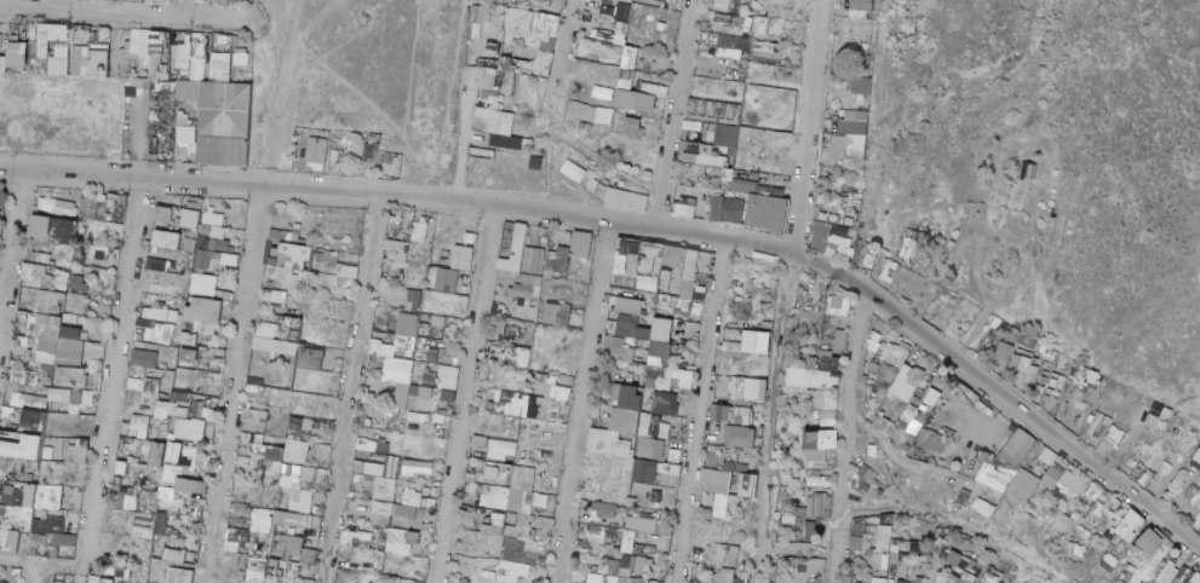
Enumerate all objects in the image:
building: (538, 0)
building: (625, 0)
building: (214, 1)
building: (541, 1)
building: (628, 1)
building: (550, 2)
building: (665, 2)
building: (588, 4)
road: (63, 5)
building: (727, 6)
road: (185, 7)
building: (859, 8)
road: (92, 11)
building: (607, 11)
building: (625, 12)
building: (676, 13)
building: (593, 15)
road: (216, 17)
building: (585, 19)
building: (837, 21)
building: (542, 23)
building: (733, 23)
building: (619, 28)
building: (544, 30)
building: (762, 30)
building: (768, 30)
building: (61, 31)
building: (774, 31)
building: (581, 33)
building: (855, 33)
building: (42, 34)
building: (188, 35)
building: (539, 35)
building: (604, 35)
building: (619, 35)
building: (0, 36)
building: (228, 39)
building: (160, 40)
building: (246, 40)
building: (472, 42)
building: (545, 42)
building: (533, 45)
building: (139, 46)
building: (731, 47)
building: (580, 48)
building: (756, 48)
building: (860, 48)
building: (638, 50)
building: (766, 50)
building: (40, 51)
building: (182, 51)
building: (240, 51)
building: (863, 51)
building: (15, 53)
building: (56, 56)
building: (631, 56)
building: (638, 57)
building: (649, 57)
building: (206, 59)
building: (239, 59)
building: (763, 59)
building: (99, 60)
building: (219, 60)
building: (861, 60)
building: (35, 62)
building: (664, 62)
building: (196, 63)
building: (2, 64)
building: (77, 64)
road: (563, 64)
building: (625, 64)
building: (184, 65)
building: (837, 68)
building: (117, 69)
building: (12, 71)
building: (157, 71)
building: (54, 73)
building: (59, 74)
building: (214, 74)
building: (532, 74)
building: (632, 77)
building: (206, 80)
building: (213, 80)
building: (137, 83)
road: (287, 83)
building: (857, 85)
building: (179, 88)
building: (504, 93)
building: (489, 94)
building: (636, 99)
building: (493, 100)
building: (488, 105)
road: (673, 111)
building: (354, 112)
building: (840, 112)
building: (861, 115)
road: (466, 116)
building: (489, 116)
building: (849, 116)
building: (605, 119)
building: (185, 121)
building: (226, 123)
road: (810, 125)
building: (695, 126)
building: (712, 126)
building: (633, 127)
building: (851, 127)
building: (714, 131)
building: (184, 134)
building: (728, 135)
building: (713, 138)
building: (694, 142)
building: (506, 143)
building: (838, 145)
building: (855, 145)
building: (374, 148)
building: (706, 149)
building: (316, 150)
building: (720, 150)
building: (186, 151)
building: (731, 151)
building: (374, 155)
building: (392, 155)
building: (714, 155)
building: (126, 156)
building: (687, 157)
building: (711, 161)
building: (368, 166)
building: (725, 166)
building: (573, 172)
road: (597, 172)
building: (693, 172)
building: (717, 173)
building: (745, 181)
building: (598, 186)
building: (676, 189)
building: (707, 190)
road: (400, 194)
building: (2, 198)
building: (627, 201)
building: (114, 204)
building: (687, 206)
building: (59, 208)
building: (91, 209)
building: (677, 209)
building: (768, 209)
building: (119, 210)
building: (304, 210)
building: (316, 210)
building: (730, 210)
building: (752, 214)
building: (166, 215)
building: (189, 219)
building: (213, 220)
building: (823, 220)
building: (119, 221)
building: (397, 224)
building: (833, 224)
building: (161, 227)
building: (203, 230)
building: (65, 231)
building: (41, 232)
building: (282, 237)
building: (302, 241)
building: (214, 242)
building: (166, 243)
building: (186, 243)
road: (12, 244)
building: (386, 244)
building: (331, 247)
building: (628, 248)
building: (154, 250)
building: (397, 250)
building: (516, 250)
building: (98, 254)
building: (113, 254)
building: (212, 254)
building: (294, 255)
building: (328, 256)
building: (655, 256)
building: (387, 258)
building: (396, 258)
building: (76, 259)
building: (201, 260)
building: (528, 260)
building: (556, 260)
building: (677, 262)
building: (297, 264)
building: (466, 264)
building: (155, 265)
building: (235, 266)
building: (696, 266)
building: (217, 267)
building: (40, 269)
building: (331, 269)
building: (676, 269)
building: (312, 278)
building: (449, 279)
building: (59, 281)
building: (329, 281)
building: (647, 282)
building: (667, 282)
building: (348, 283)
building: (77, 284)
building: (691, 284)
building: (527, 289)
building: (682, 290)
building: (687, 290)
building: (699, 290)
building: (202, 291)
building: (325, 294)
building: (463, 294)
building: (274, 296)
building: (154, 298)
building: (410, 298)
building: (229, 299)
building: (631, 301)
building: (47, 302)
building: (394, 302)
building: (665, 304)
building: (540, 305)
building: (76, 306)
building: (681, 306)
building: (840, 306)
building: (205, 311)
building: (740, 311)
building: (743, 311)
building: (551, 313)
building: (159, 314)
building: (758, 314)
building: (770, 316)
building: (68, 317)
building: (563, 317)
building: (871, 317)
building: (44, 319)
building: (201, 319)
building: (493, 322)
building: (878, 322)
building: (107, 324)
building: (385, 324)
building: (429, 324)
building: (407, 325)
building: (425, 325)
building: (622, 327)
building: (752, 327)
building: (203, 328)
building: (574, 328)
building: (759, 328)
building: (993, 328)
building: (54, 329)
building: (160, 329)
building: (206, 329)
building: (291, 329)
building: (766, 329)
building: (883, 329)
building: (268, 330)
building: (503, 330)
building: (662, 330)
building: (457, 331)
building: (40, 333)
building: (512, 333)
building: (16, 334)
building: (71, 334)
building: (168, 334)
building: (436, 334)
building: (642, 334)
building: (1005, 335)
building: (880, 336)
building: (137, 337)
building: (679, 337)
building: (731, 337)
building: (189, 339)
building: (17, 340)
building: (455, 340)
building: (740, 340)
building: (760, 340)
building: (434, 341)
building: (524, 341)
building: (840, 341)
building: (404, 342)
building: (752, 344)
building: (872, 345)
building: (989, 347)
building: (380, 350)
building: (47, 351)
building: (619, 351)
building: (690, 351)
building: (420, 352)
building: (447, 352)
building: (1016, 352)
building: (408, 353)
building: (886, 353)
building: (660, 354)
building: (189, 356)
building: (435, 356)
building: (896, 356)
building: (1007, 356)
building: (513, 357)
building: (1038, 357)
road: (119, 359)
building: (148, 359)
building: (312, 359)
building: (427, 360)
building: (645, 362)
building: (828, 363)
building: (869, 363)
building: (1020, 363)
building: (427, 364)
building: (1044, 364)
building: (873, 365)
building: (220, 366)
building: (289, 370)
building: (50, 371)
building: (668, 371)
building: (277, 373)
building: (19, 376)
building: (75, 377)
building: (429, 379)
building: (658, 379)
building: (259, 380)
building: (821, 380)
building: (884, 380)
building: (35, 381)
building: (150, 381)
road: (236, 381)
building: (286, 381)
building: (441, 381)
building: (168, 382)
building: (907, 382)
building: (277, 383)
building: (436, 383)
building: (137, 385)
building: (448, 385)
building: (911, 387)
road: (355, 388)
building: (549, 389)
building: (642, 389)
building: (753, 389)
road: (469, 392)
road: (1001, 393)
building: (437, 394)
building: (448, 394)
building: (63, 396)
building: (400, 396)
building: (622, 397)
building: (145, 398)
building: (367, 398)
road: (780, 398)
building: (421, 399)
road: (584, 399)
building: (827, 400)
building: (29, 402)
building: (81, 402)
building: (509, 404)
building: (665, 404)
building: (182, 405)
building: (371, 406)
road: (705, 409)
building: (163, 410)
building: (202, 410)
building: (449, 410)
building: (538, 410)
building: (381, 412)
building: (1159, 412)
building: (16, 414)
building: (722, 414)
building: (255, 415)
building: (746, 416)
building: (417, 417)
building: (917, 419)
building: (36, 420)
building: (140, 420)
building: (310, 421)
building: (165, 422)
building: (295, 423)
building: (305, 423)
building: (656, 427)
building: (31, 429)
building: (126, 429)
building: (200, 429)
building: (139, 432)
building: (1, 434)
road: (845, 435)
building: (13, 437)
building: (741, 438)
building: (936, 440)
building: (481, 443)
building: (50, 444)
building: (366, 445)
building: (24, 448)
building: (504, 449)
building: (653, 449)
building: (817, 449)
building: (80, 451)
building: (156, 452)
building: (176, 454)
building: (275, 460)
building: (1196, 460)
building: (1003, 466)
building: (418, 468)
building: (253, 471)
building: (503, 472)
building: (648, 472)
building: (673, 475)
building: (528, 479)
building: (817, 479)
building: (866, 479)
building: (168, 480)
building: (194, 485)
building: (750, 486)
building: (128, 487)
building: (719, 487)
building: (1193, 495)
building: (496, 497)
building: (34, 498)
building: (658, 498)
building: (171, 501)
building: (294, 501)
building: (419, 501)
building: (1101, 503)
building: (387, 504)
building: (814, 507)
building: (981, 508)
building: (1124, 509)
building: (1199, 509)
building: (605, 510)
building: (294, 520)
building: (786, 520)
building: (263, 524)
building: (545, 524)
building: (150, 525)
building: (641, 525)
building: (1135, 525)
building: (481, 530)
building: (805, 531)
building: (919, 532)
building: (56, 535)
building: (599, 535)
building: (417, 537)
building: (356, 539)
building: (235, 541)
building: (1156, 541)
building: (11, 542)
building: (635, 542)
building: (873, 542)
building: (398, 544)
building: (295, 549)
building: (521, 552)
building: (911, 552)
building: (183, 554)
building: (725, 555)
building: (964, 565)
building: (609, 567)
building: (880, 567)
building: (254, 570)
building: (625, 571)
building: (513, 572)
building: (1178, 575)
building: (179, 576)
building: (730, 577)
building: (101, 581)
building: (463, 581)
building: (957, 581)
building: (1133, 581)
building: (414, 582)
building: (902, 582)

